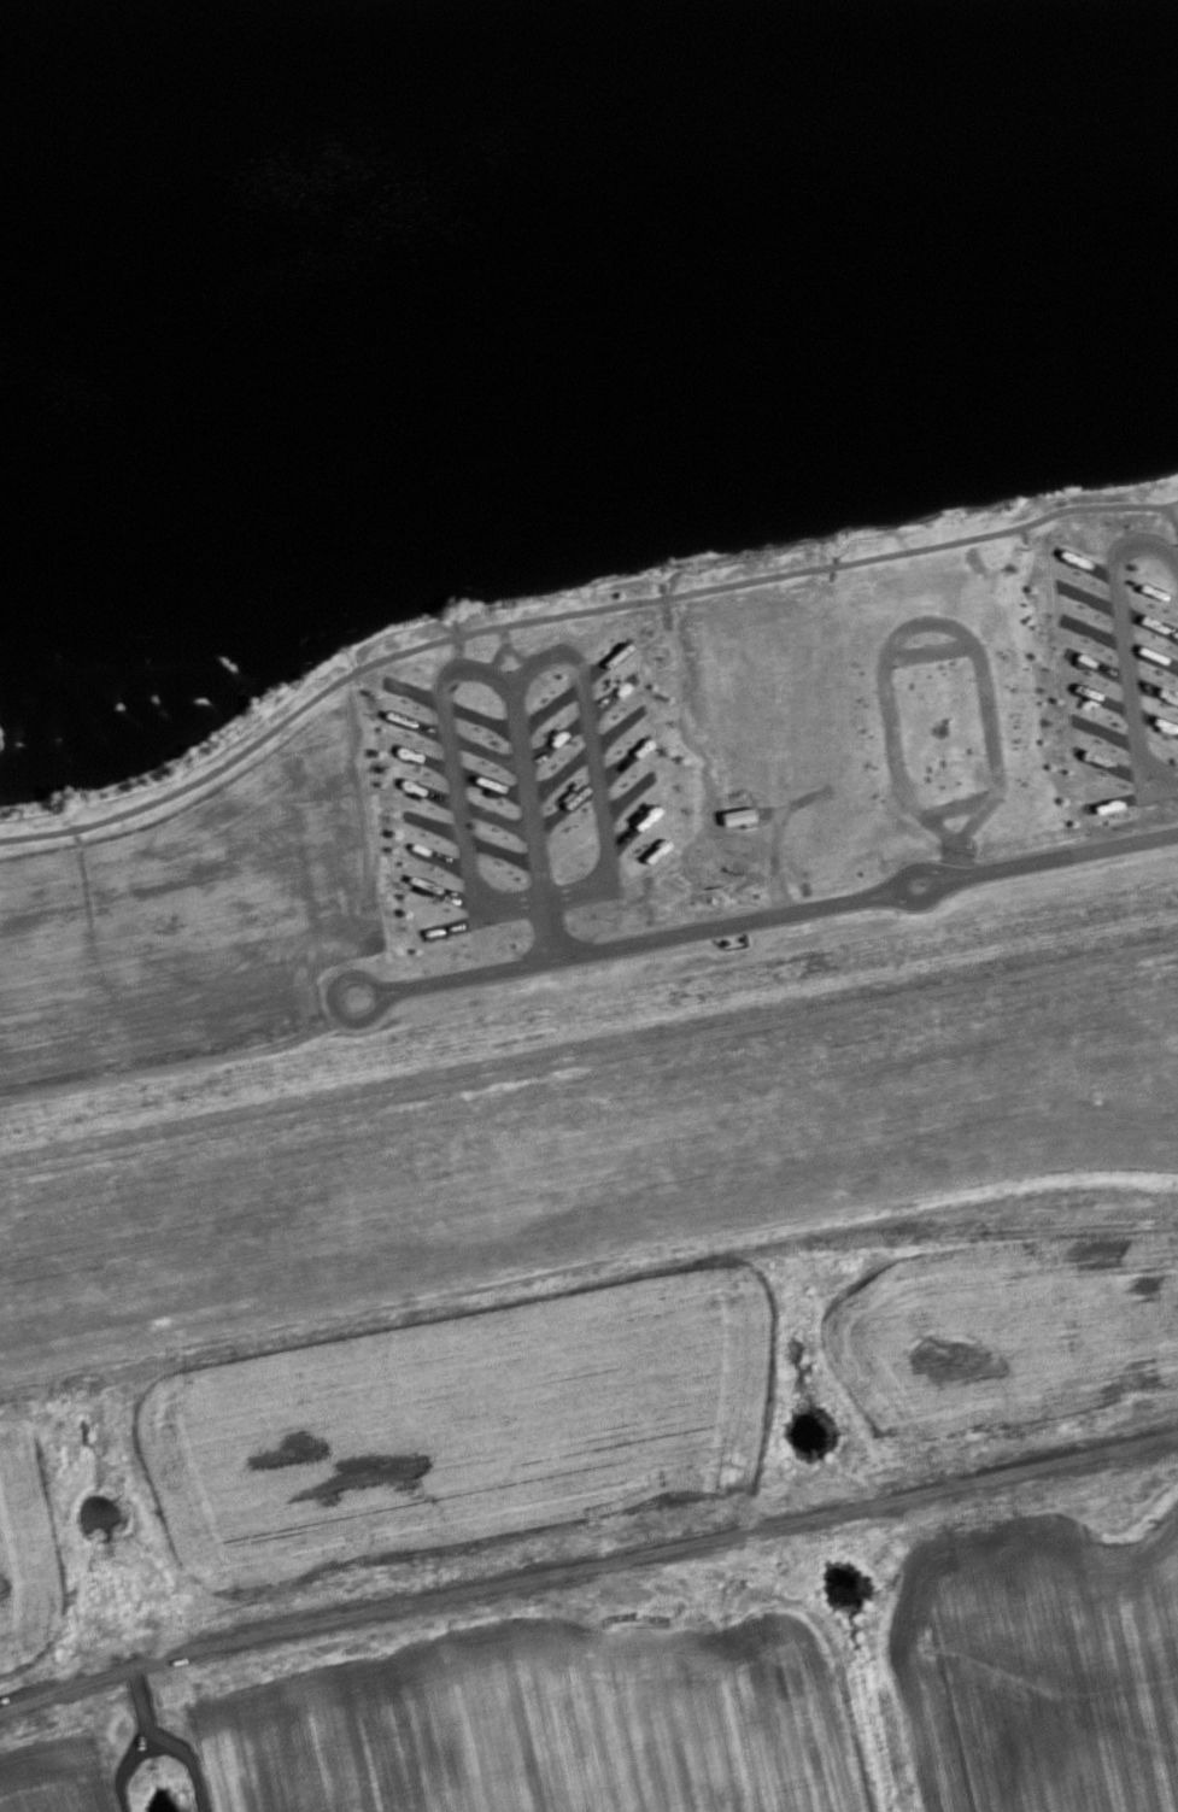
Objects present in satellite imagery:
road: (1173, 520)
park: (567, 532)
road: (1083, 561)
road: (1145, 587)
road: (1088, 597)
road: (569, 611)
road: (1148, 621)
road: (942, 622)
road: (1091, 631)
road: (503, 633)
helipad: (755, 640)
road: (1123, 643)
road: (516, 653)
road: (1150, 655)
road: (497, 657)
road: (604, 663)
road: (1095, 664)
road: (1153, 687)
road: (414, 691)
road: (610, 696)
road: (1102, 698)
road: (549, 708)
road: (480, 717)
road: (1155, 721)
road: (418, 723)
road: (616, 727)
road: (1106, 729)
road: (553, 740)
road: (485, 751)
road: (422, 757)
road: (622, 760)
road: (593, 761)
road: (1113, 766)
road: (558, 770)
road: (453, 780)
road: (490, 781)
road: (428, 791)
road: (626, 793)
road: (1125, 797)
road: (564, 805)
road: (494, 817)
road: (529, 820)
road: (433, 823)
road: (631, 829)
road: (569, 838)
road: (499, 849)
road: (1059, 856)
road: (439, 857)
road: (633, 863)
road: (889, 889)
road: (449, 892)
road: (458, 923)
road: (641, 939)
road: (332, 998)
road: (586, 1562)

